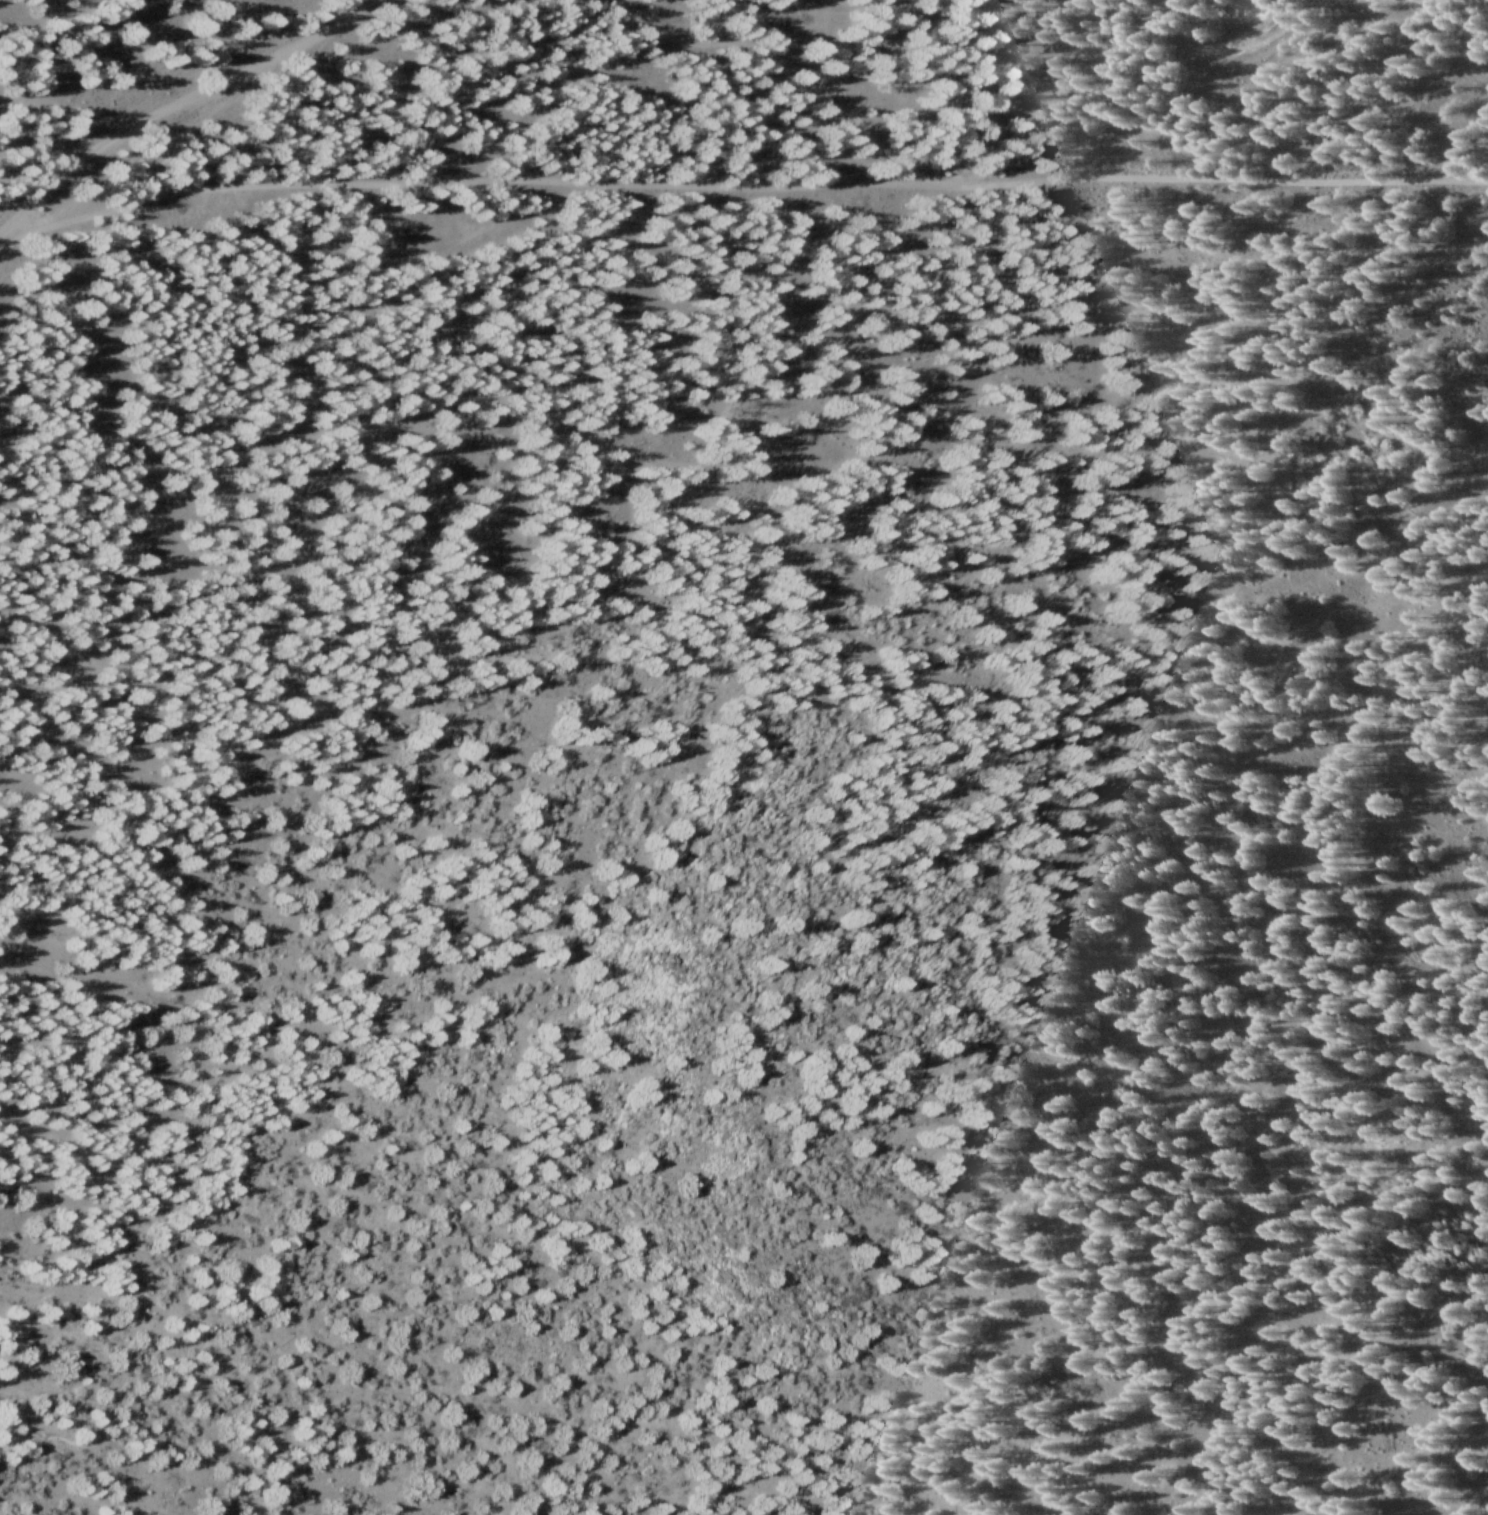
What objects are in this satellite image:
road: (171, 105)
road: (740, 185)

